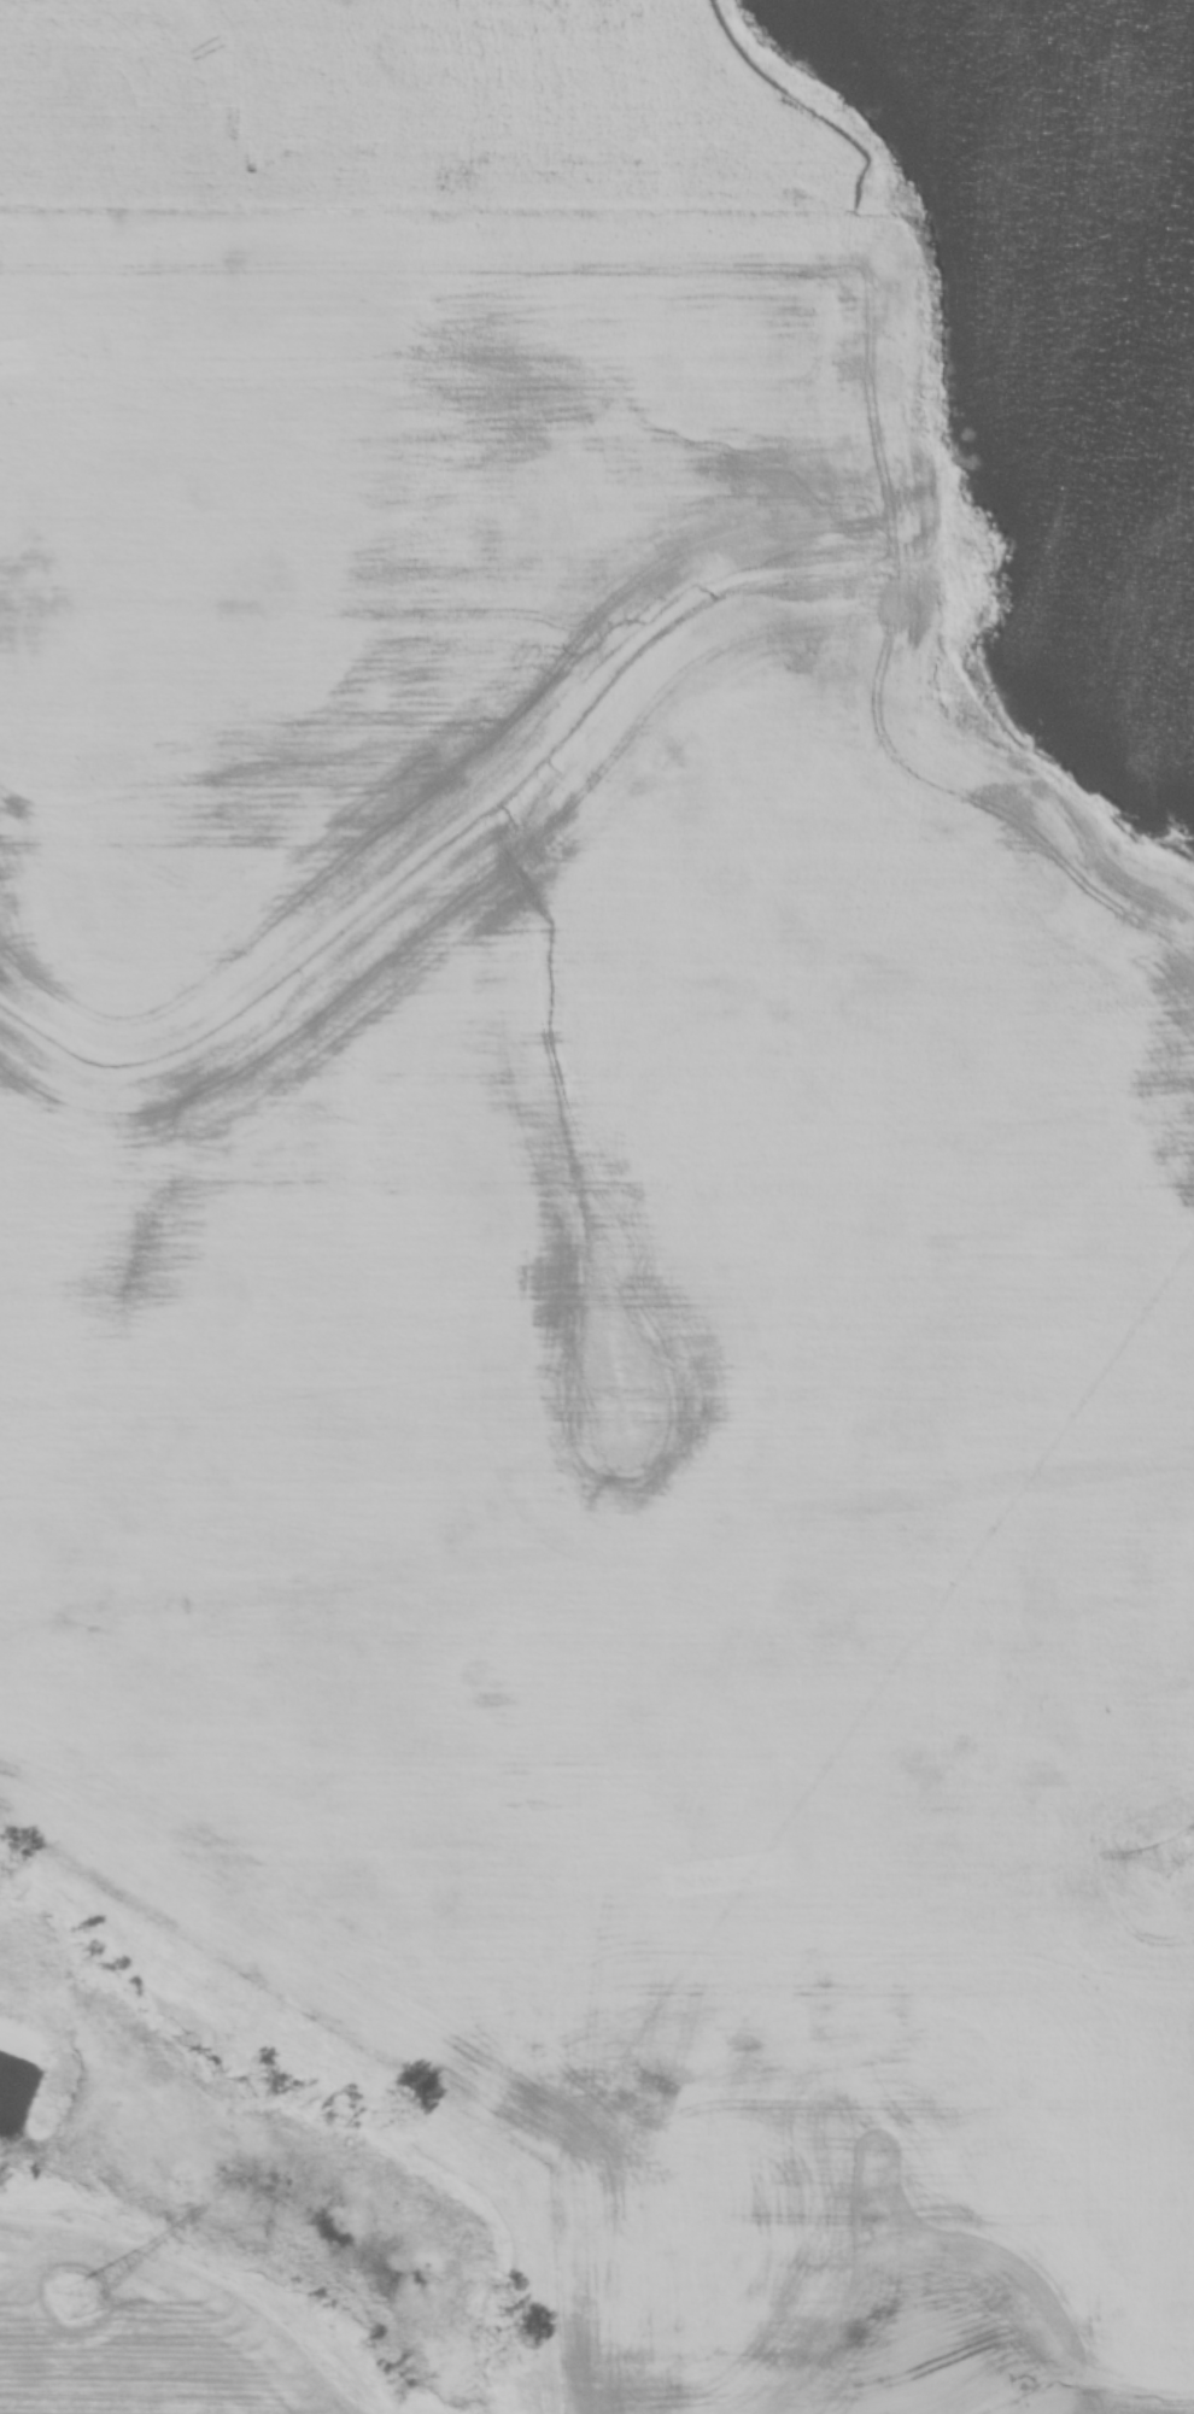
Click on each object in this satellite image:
power tower: (1173, 1857)
power tower: (75, 2299)

